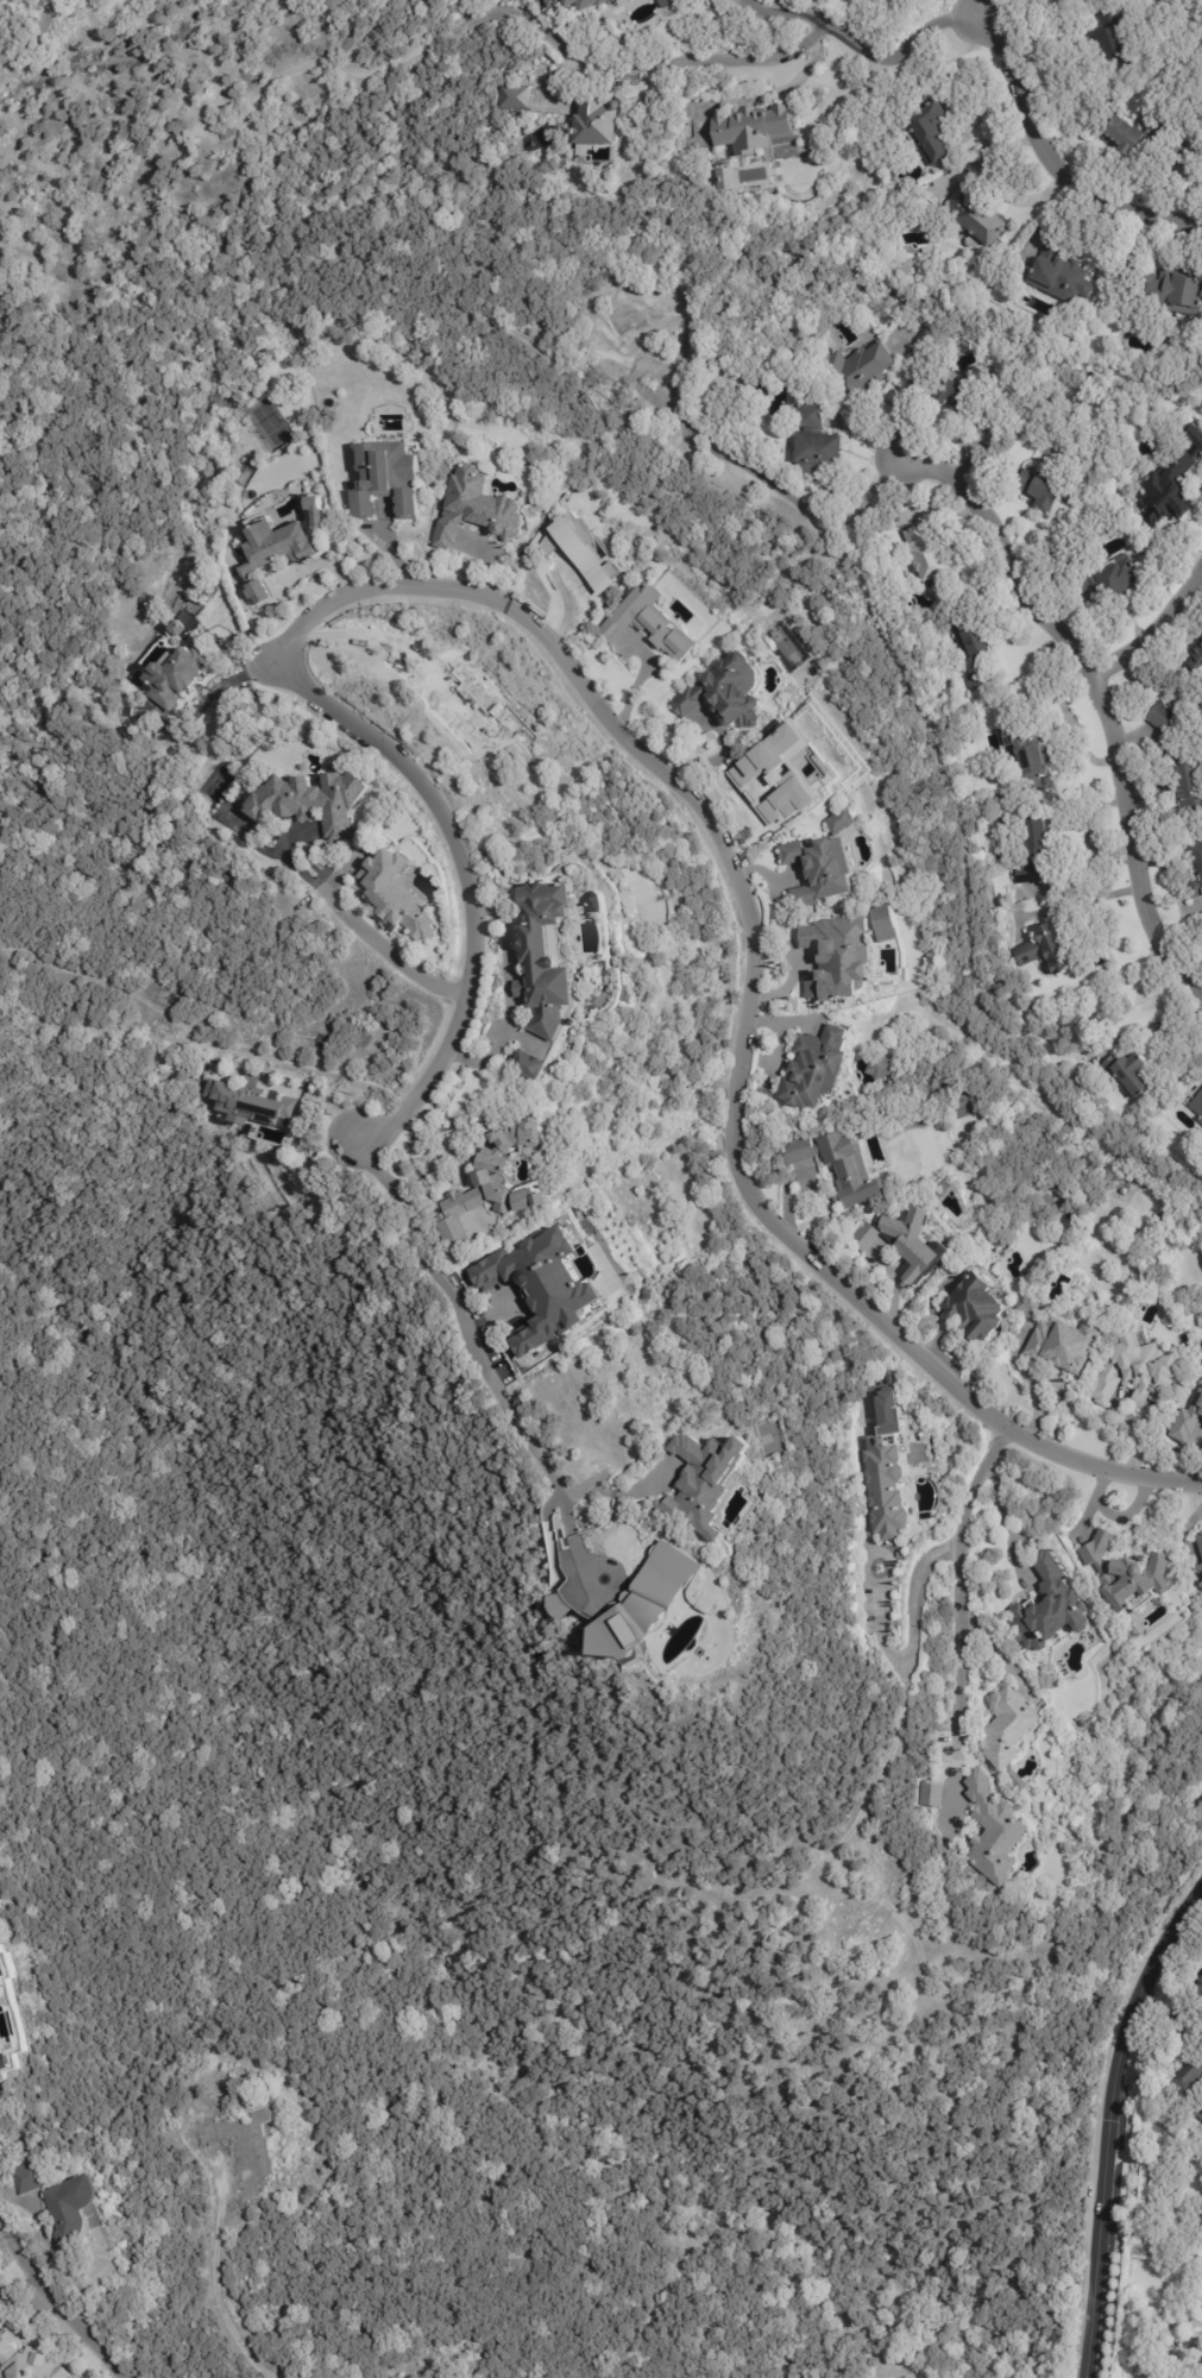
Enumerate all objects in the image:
building: (581, 2)
building: (668, 2)
building: (553, 4)
building: (1107, 43)
road: (862, 49)
road: (630, 64)
building: (522, 97)
building: (608, 122)
building: (749, 127)
building: (925, 132)
building: (1118, 136)
building: (1173, 150)
road: (1051, 162)
building: (717, 177)
building: (975, 218)
building: (1059, 276)
building: (1172, 290)
building: (627, 323)
building: (855, 366)
building: (968, 397)
building: (812, 446)
building: (392, 479)
building: (1171, 483)
building: (1041, 491)
road: (795, 499)
building: (1102, 503)
building: (483, 507)
building: (285, 546)
building: (1135, 552)
building: (923, 556)
building: (1109, 579)
building: (188, 618)
road: (1153, 624)
building: (647, 627)
building: (786, 647)
building: (973, 652)
building: (1195, 656)
building: (176, 677)
road: (1101, 688)
building: (724, 692)
building: (807, 717)
building: (1159, 717)
road: (623, 735)
building: (1028, 760)
building: (783, 763)
building: (1183, 785)
building: (304, 801)
building: (838, 820)
building: (1031, 848)
building: (820, 869)
building: (1192, 869)
building: (392, 894)
building: (587, 900)
building: (596, 901)
road: (1085, 902)
building: (885, 923)
building: (1044, 950)
road: (379, 951)
building: (546, 957)
building: (835, 957)
building: (529, 1067)
building: (874, 1067)
building: (816, 1070)
building: (1127, 1071)
building: (247, 1101)
building: (1197, 1106)
building: (833, 1165)
building: (486, 1184)
building: (906, 1243)
building: (543, 1283)
building: (975, 1309)
building: (1061, 1346)
road: (478, 1358)
building: (1132, 1371)
building: (881, 1396)
building: (1187, 1418)
building: (711, 1480)
building: (886, 1489)
road: (1007, 1522)
building: (1201, 1534)
building: (1200, 1541)
building: (1124, 1572)
building: (1200, 1574)
road: (961, 1593)
building: (644, 1602)
building: (776, 1606)
building: (1049, 1610)
road: (910, 1653)
building: (1006, 1729)
building: (930, 1797)
building: (992, 1830)
building: (2, 1967)
building: (1201, 1980)
building: (1, 1993)
building: (1200, 1996)
road: (1171, 2005)
building: (2, 2056)
building: (1187, 2080)
building: (0, 2081)
building: (1201, 2105)
building: (1200, 2114)
road: (1107, 2132)
building: (246, 2149)
building: (32, 2177)
building: (77, 2207)
building: (1198, 2247)
road: (57, 2307)
building: (27, 2360)

